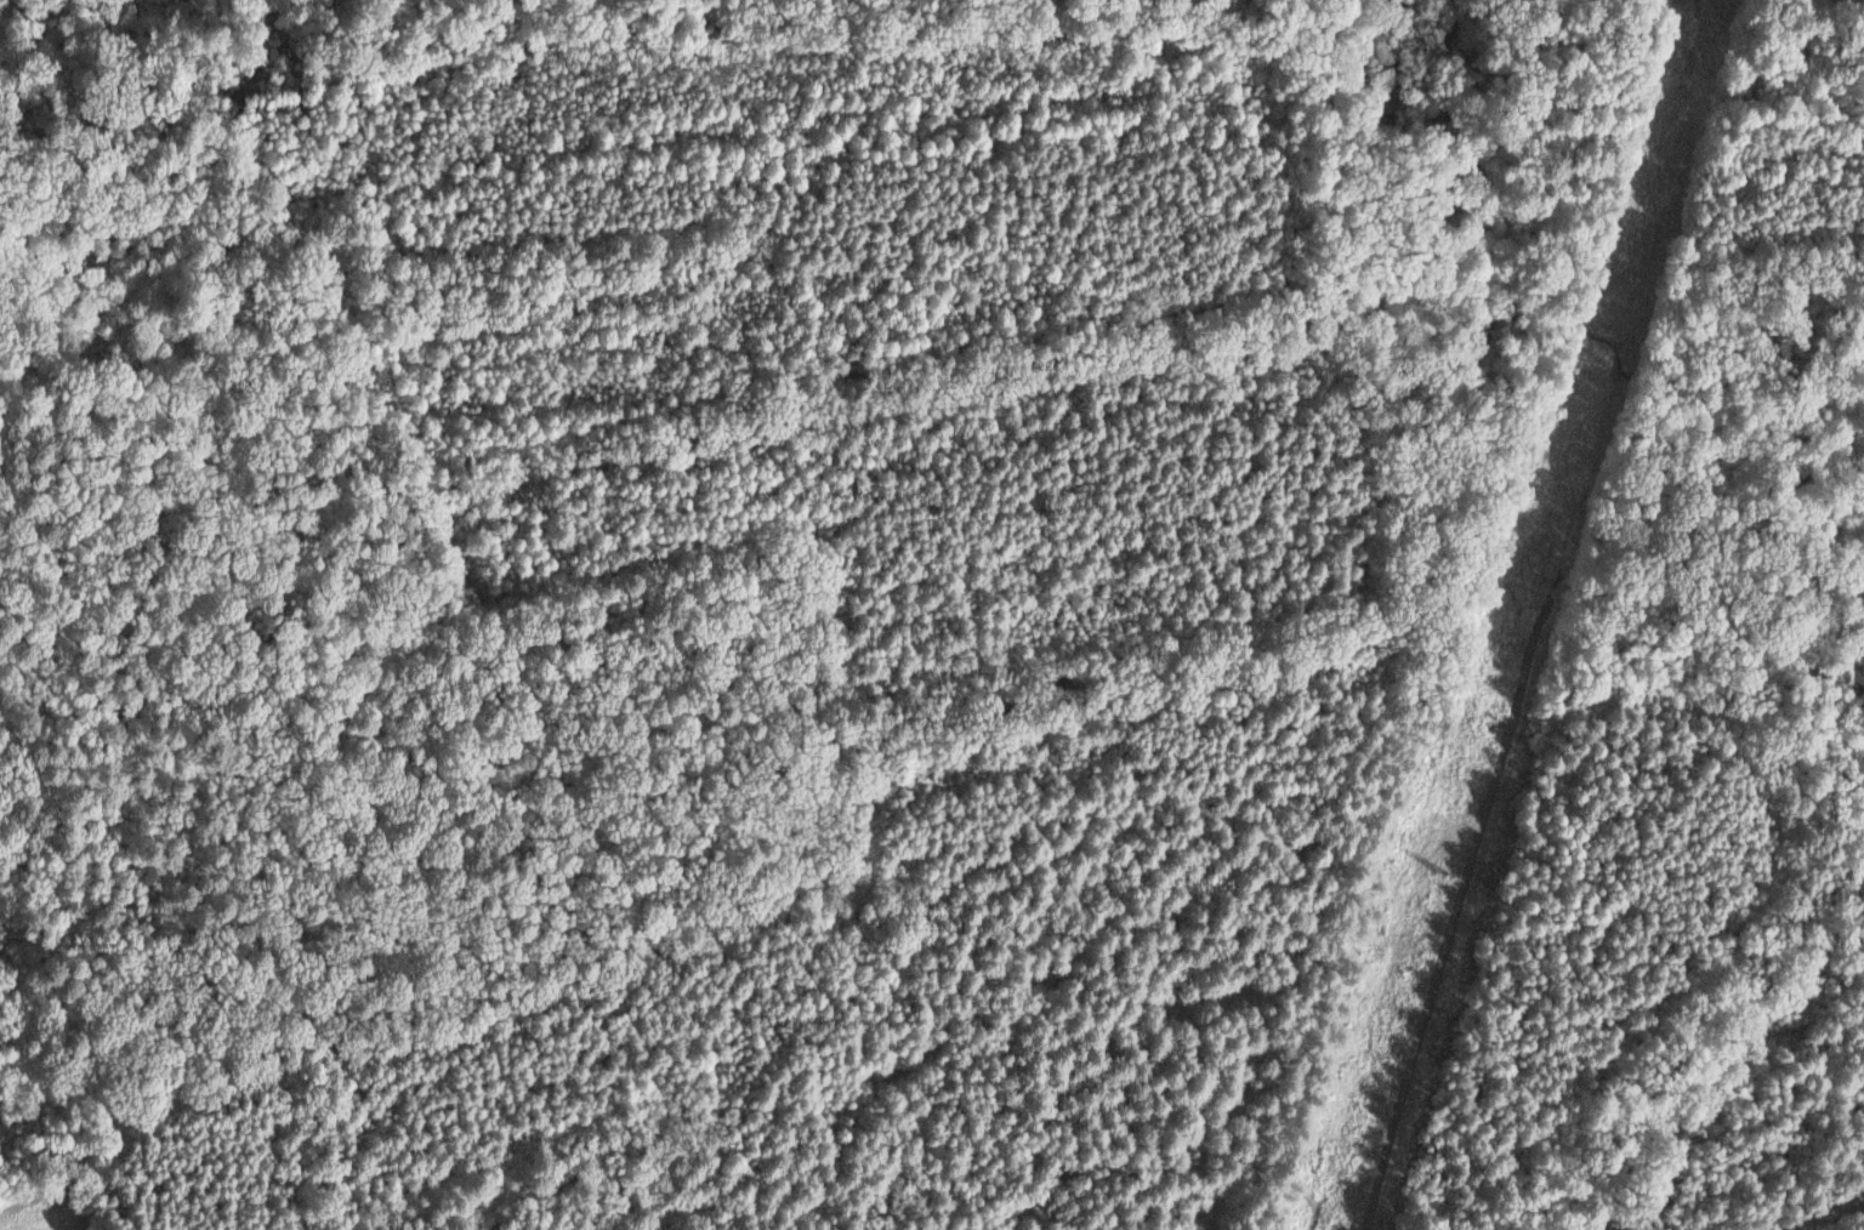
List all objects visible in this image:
power tower: (1700, 19)
power tower: (1573, 444)
power tower: (1444, 872)

